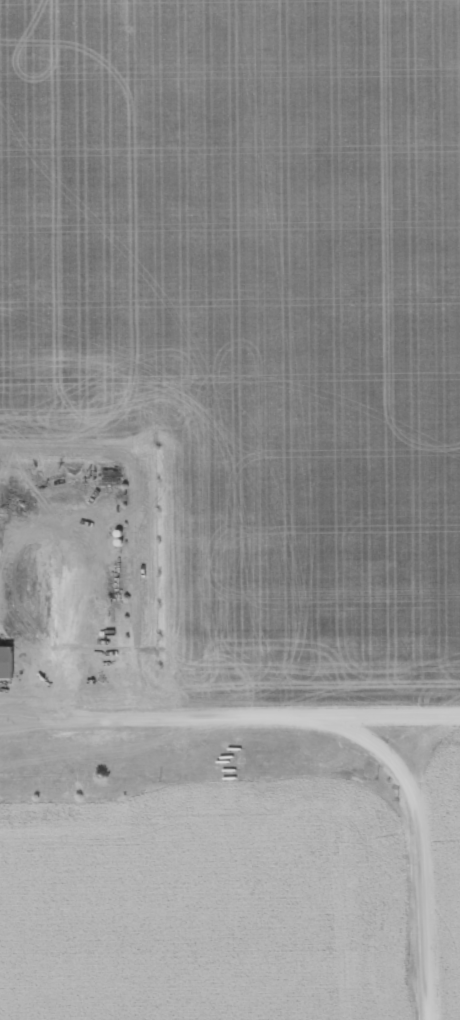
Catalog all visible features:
building: (7, 660)
road: (237, 726)
road: (435, 861)

